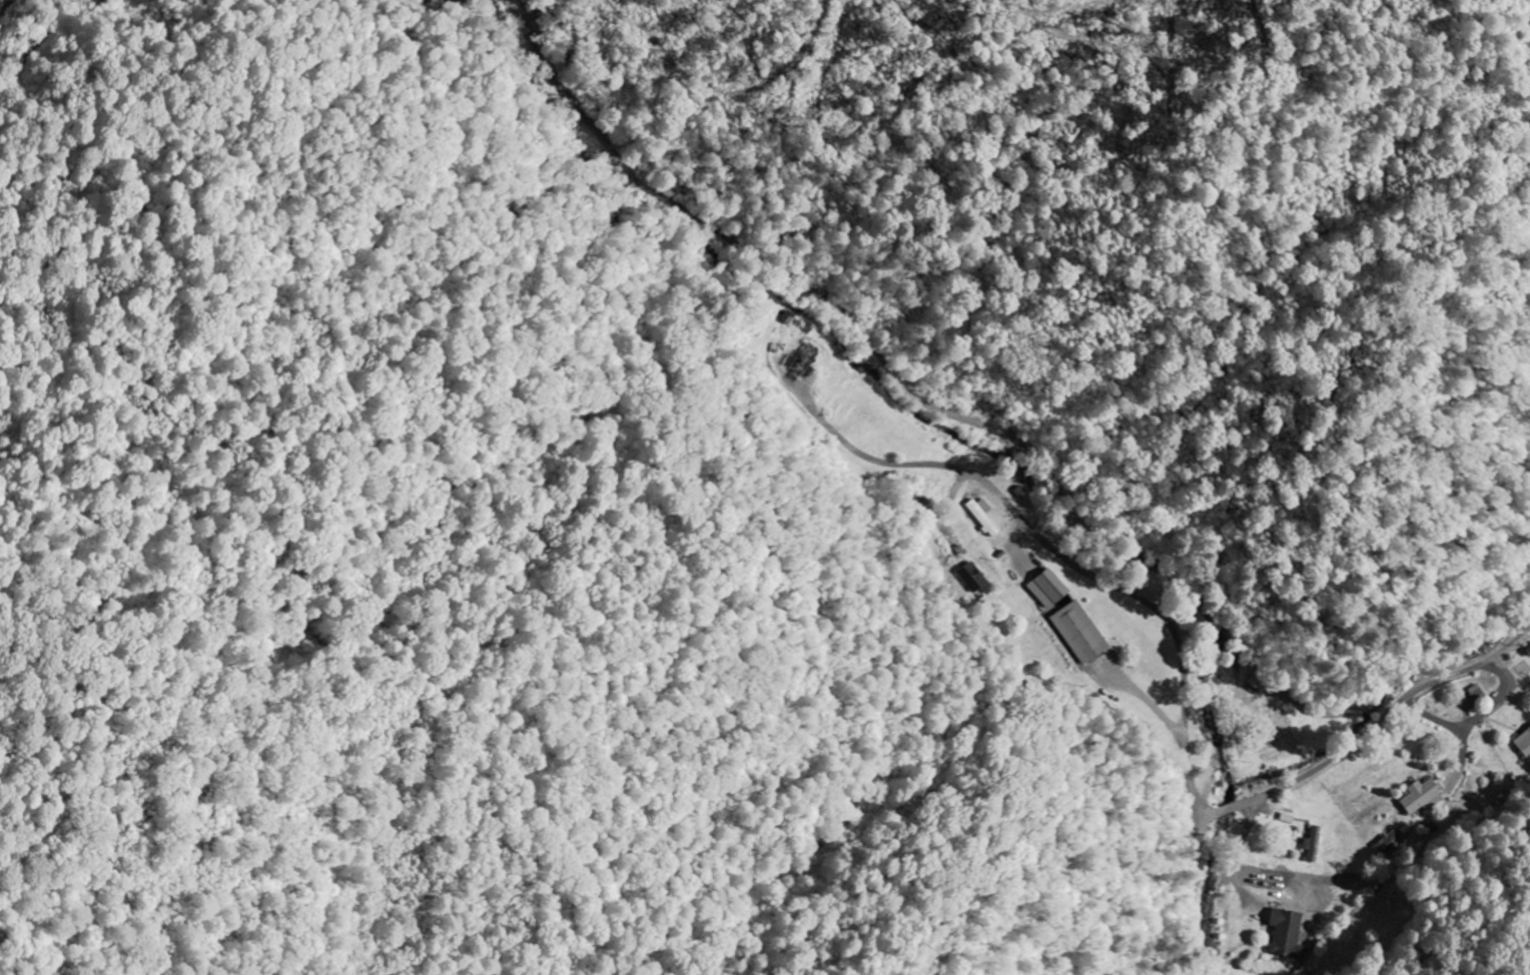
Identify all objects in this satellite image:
building: (986, 518)
building: (975, 577)
building: (1048, 589)
building: (1080, 633)
building: (1528, 652)
building: (1258, 680)
building: (1476, 692)
road: (1474, 715)
building: (1524, 744)
road: (1309, 774)
building: (1421, 797)
building: (1387, 842)
building: (1312, 845)
building: (1285, 935)

